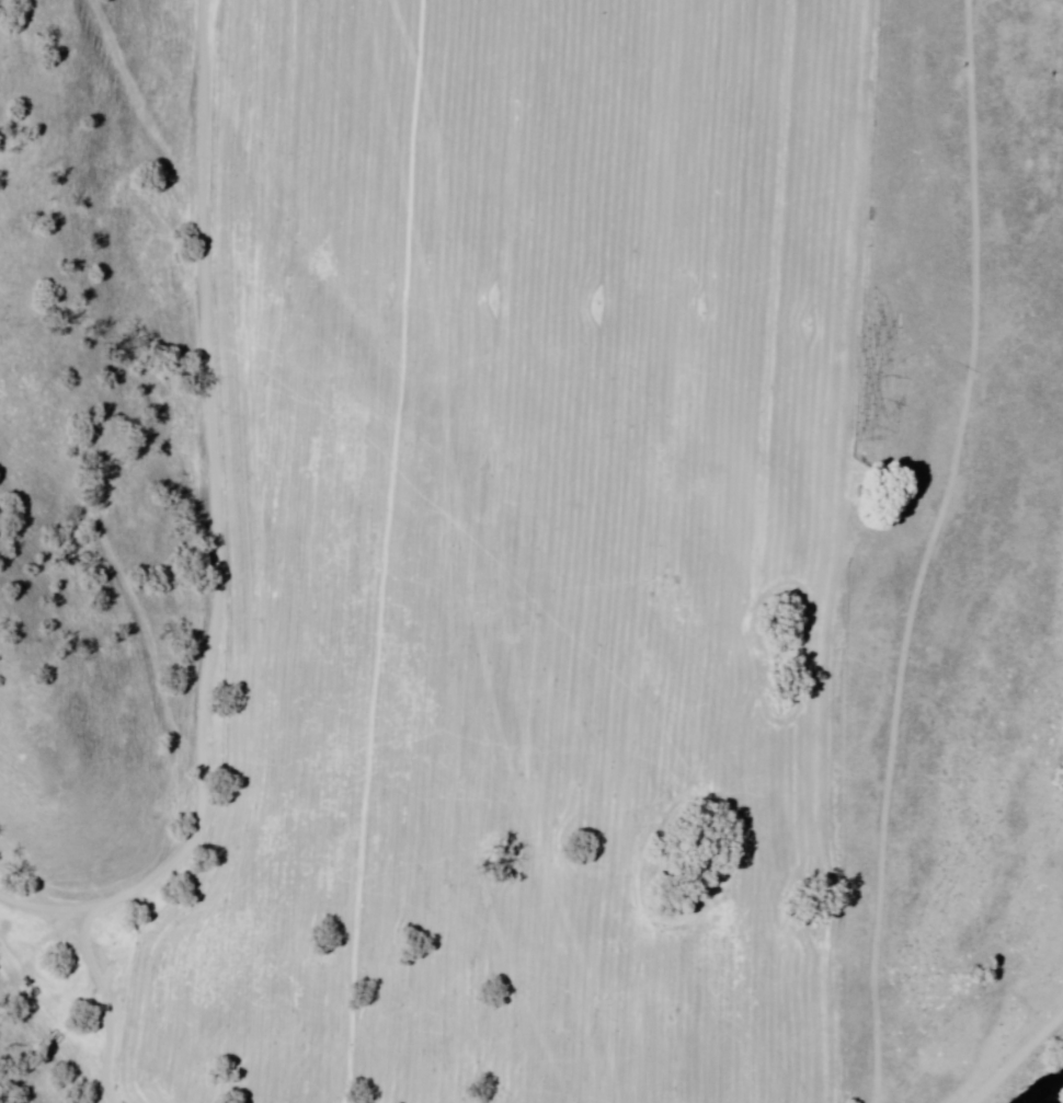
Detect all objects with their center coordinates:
road: (268, 532)

